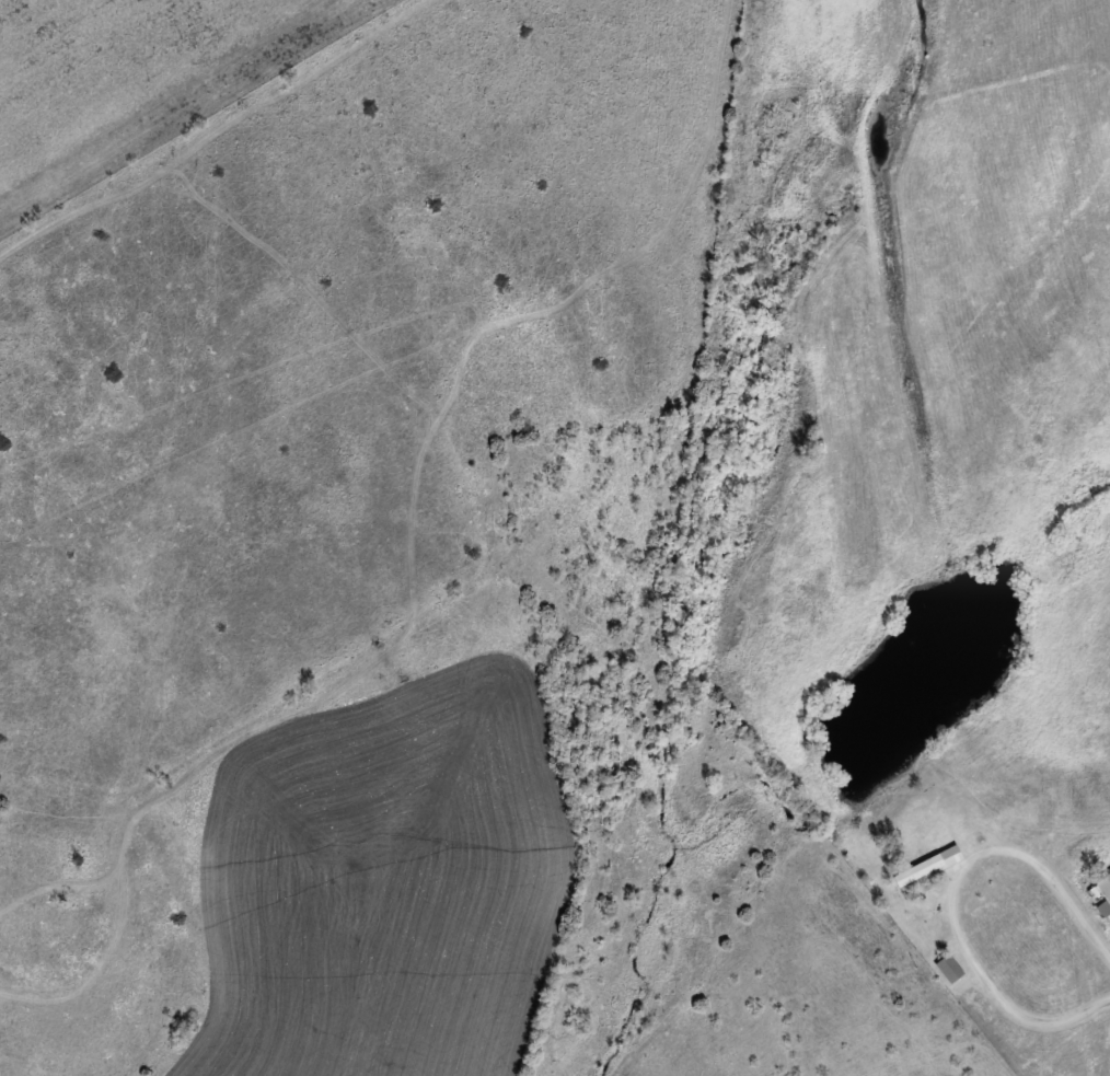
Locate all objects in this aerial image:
building: (916, 870)
building: (1100, 890)
building: (948, 968)

